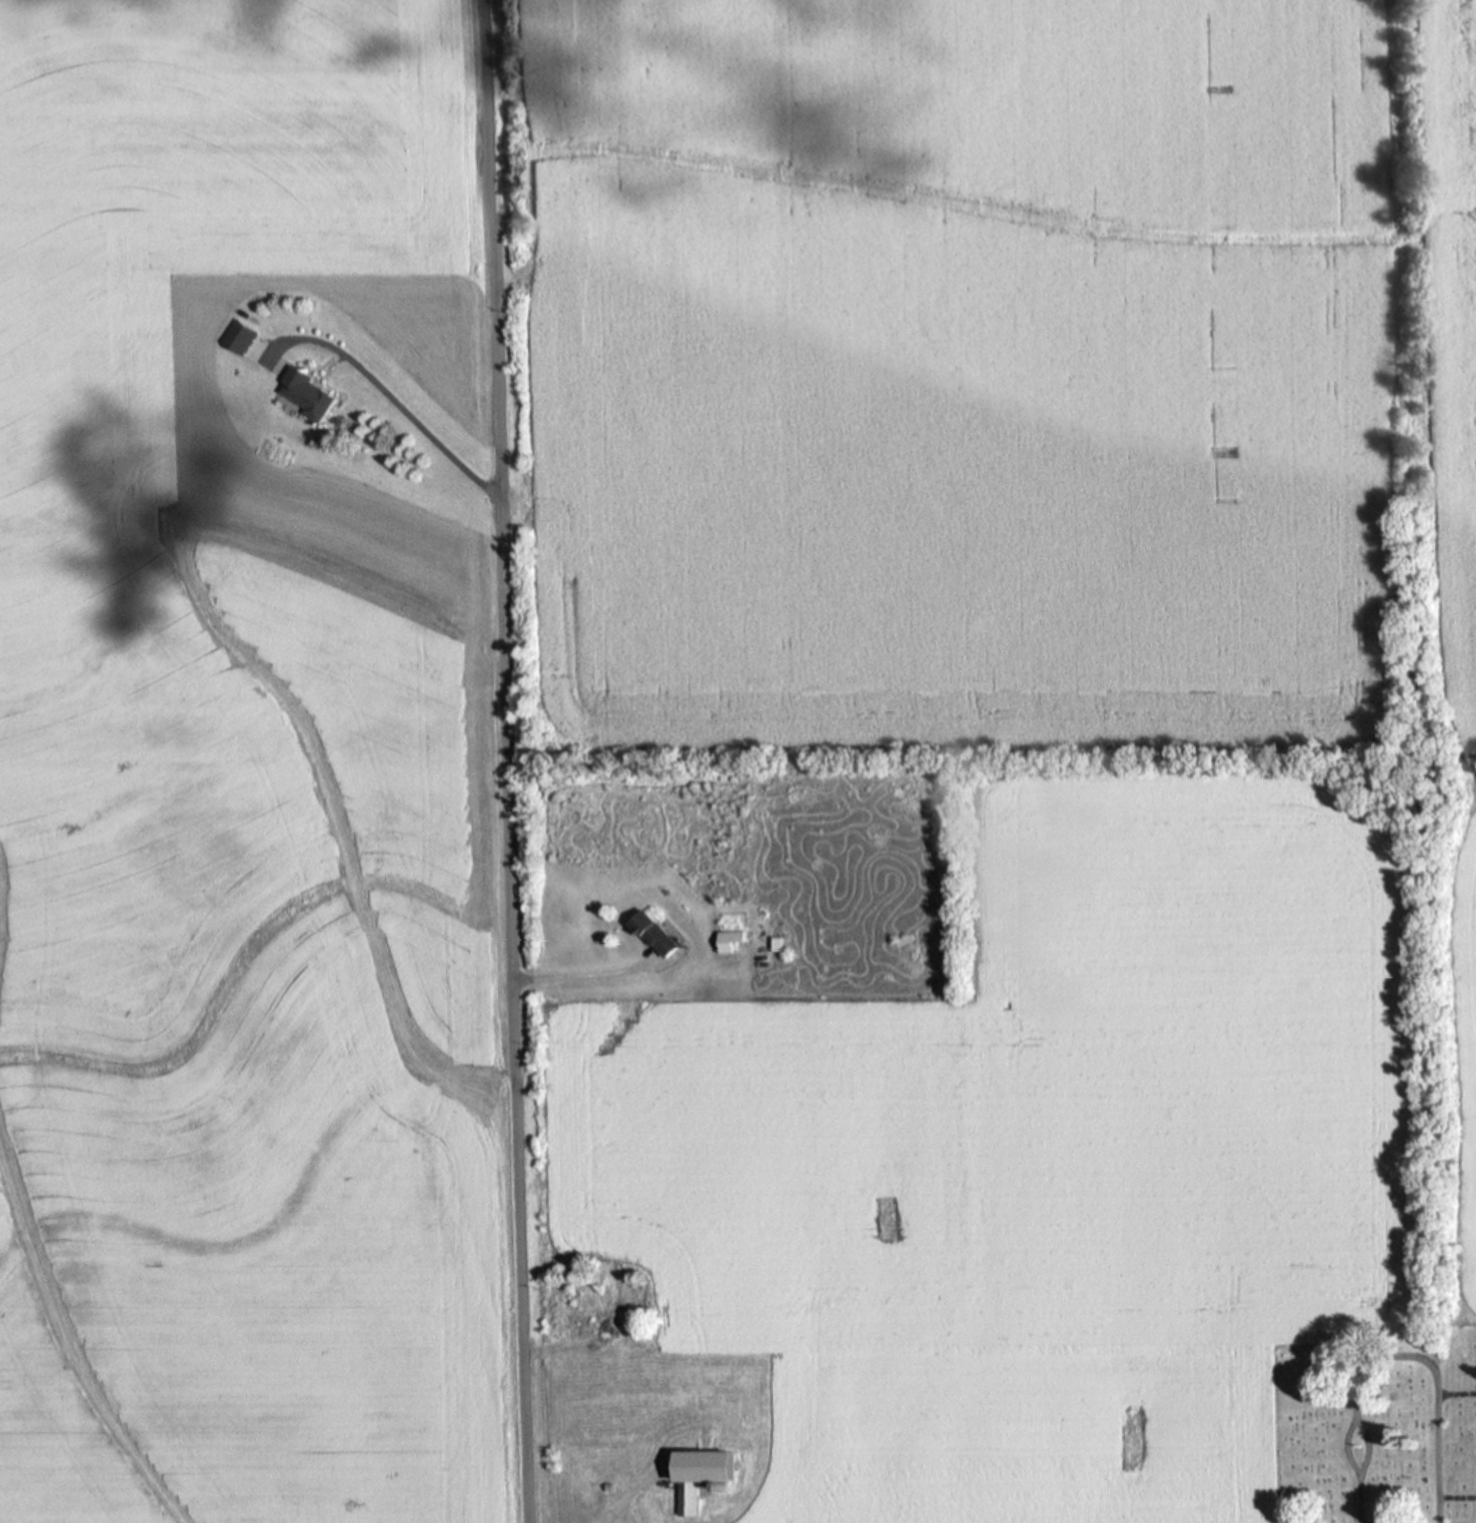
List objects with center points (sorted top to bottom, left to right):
building: (309, 392)
road: (505, 761)
building: (656, 932)
building: (728, 940)
building: (904, 940)
road: (1434, 1378)
road: (1456, 1394)
park: (1373, 1428)
road: (1362, 1447)
road: (1344, 1449)
building: (704, 1473)
road: (1456, 1497)
road: (1357, 1499)

